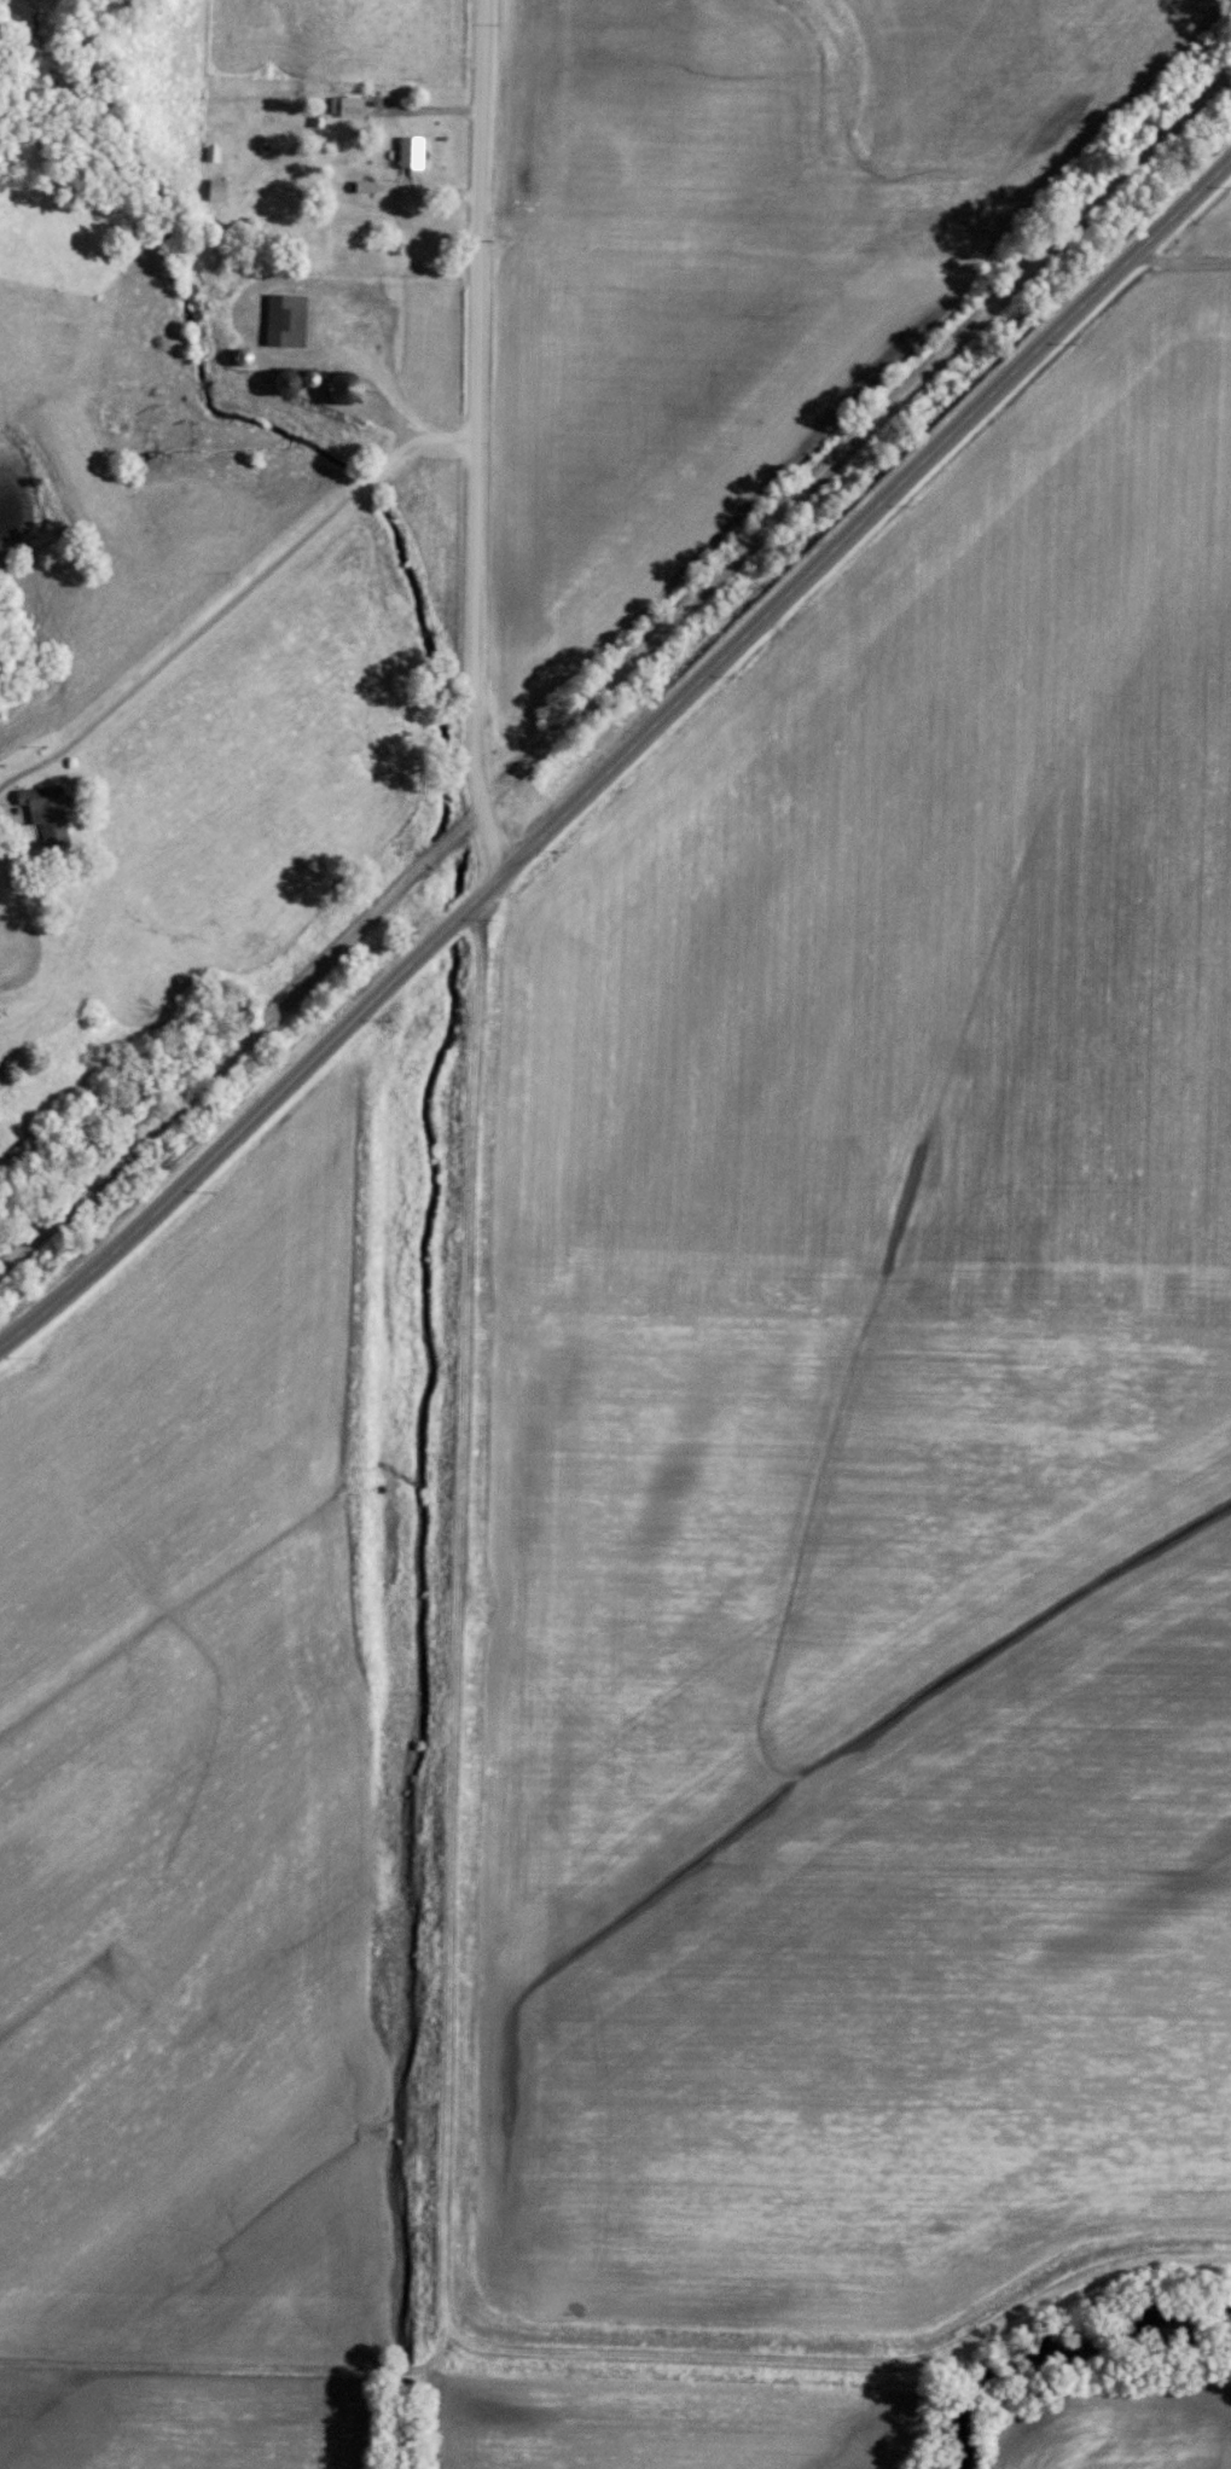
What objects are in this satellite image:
building: (344, 109)
building: (407, 155)
building: (209, 157)
building: (214, 192)
building: (281, 323)
road: (476, 435)
road: (248, 577)
road: (617, 670)
road: (619, 761)
building: (42, 815)

